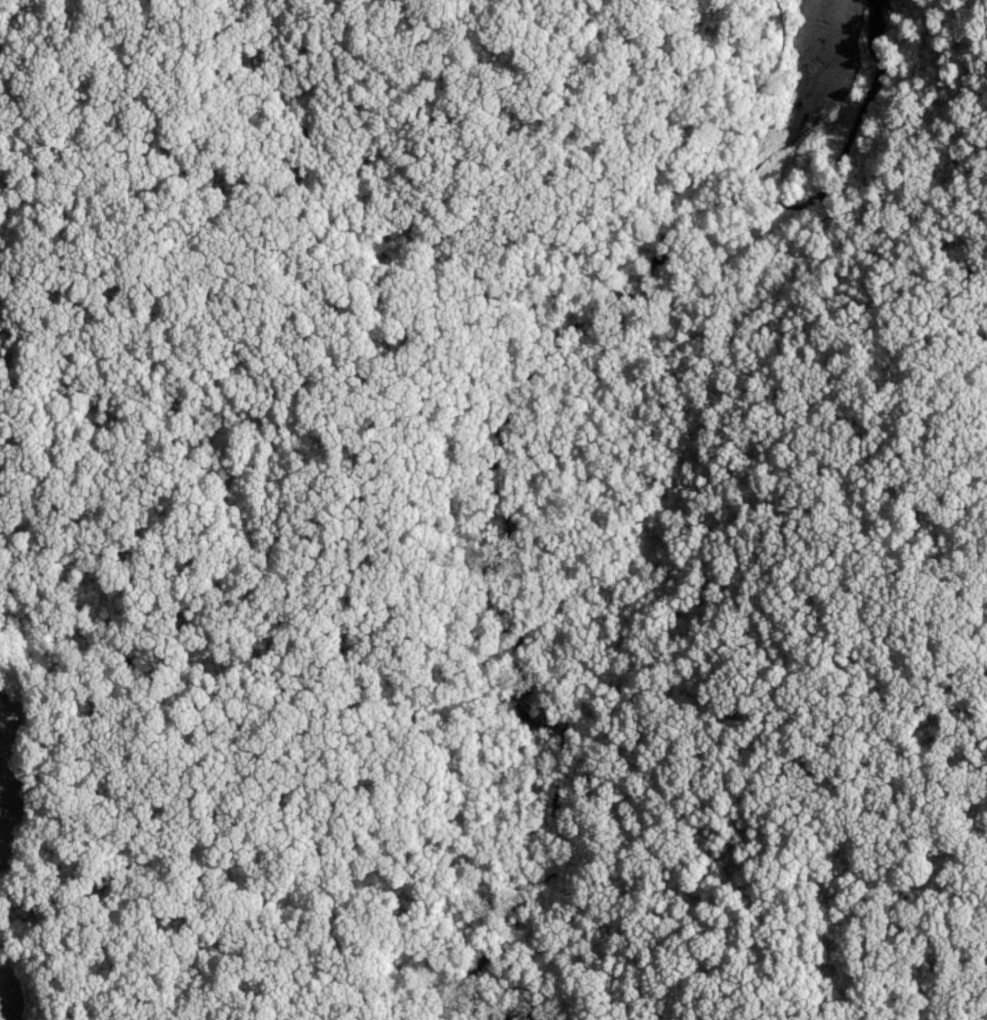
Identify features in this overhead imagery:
road: (697, 329)

